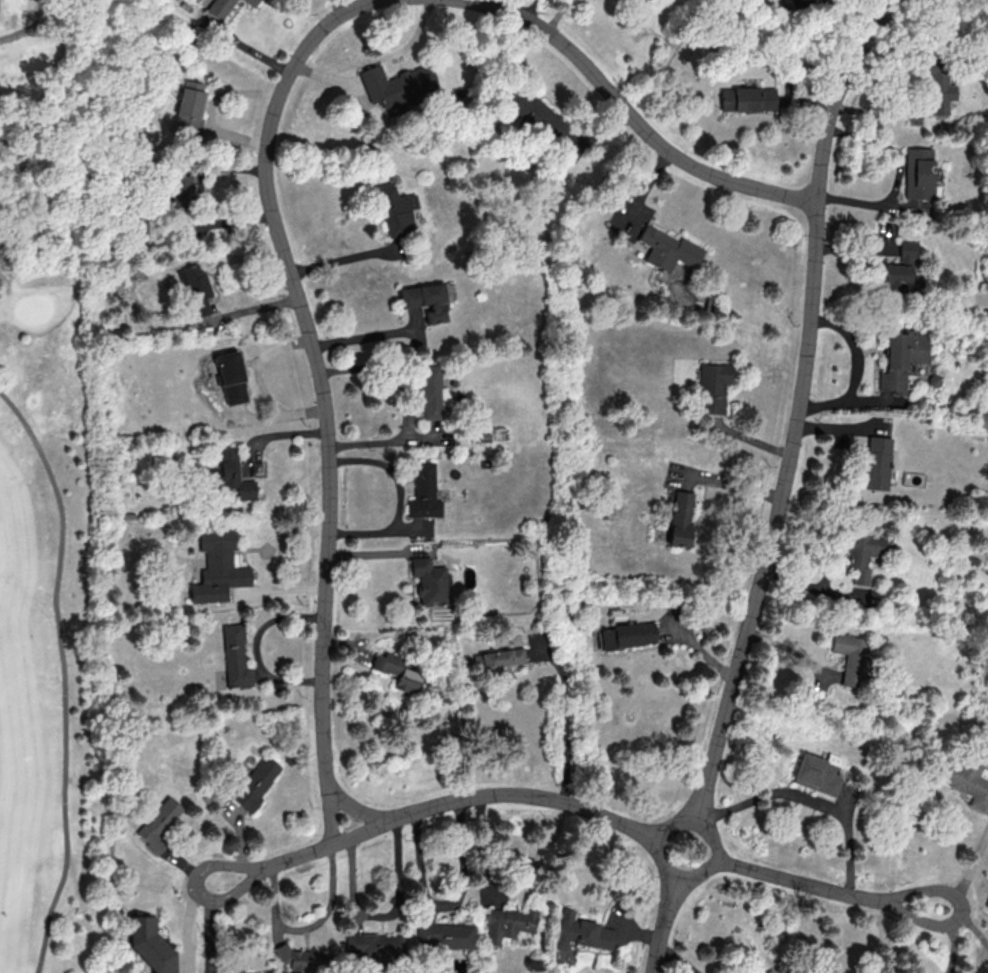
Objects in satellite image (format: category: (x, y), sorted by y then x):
building: (251, 2)
building: (797, 3)
building: (218, 8)
road: (30, 29)
road: (378, 60)
building: (395, 84)
building: (937, 87)
building: (746, 99)
building: (188, 106)
building: (534, 114)
road: (629, 116)
building: (916, 174)
building: (179, 186)
road: (868, 203)
building: (393, 210)
building: (666, 249)
road: (344, 261)
building: (901, 273)
building: (195, 286)
building: (424, 299)
building: (900, 359)
building: (230, 377)
road: (262, 385)
building: (711, 387)
building: (428, 390)
road: (321, 391)
road: (410, 404)
building: (874, 463)
building: (228, 475)
road: (782, 484)
building: (423, 491)
park: (53, 513)
building: (680, 517)
building: (863, 552)
road: (268, 557)
building: (217, 567)
building: (429, 581)
building: (626, 635)
road: (257, 647)
building: (235, 656)
building: (850, 657)
building: (499, 658)
building: (396, 671)
road: (64, 676)
road: (566, 726)
building: (816, 774)
building: (256, 782)
building: (967, 782)
road: (810, 801)
road: (357, 809)
building: (159, 824)
road: (634, 829)
road: (485, 848)
road: (275, 865)
road: (963, 912)
building: (506, 923)
building: (581, 932)
building: (444, 935)
road: (884, 935)
building: (373, 946)
building: (300, 960)

